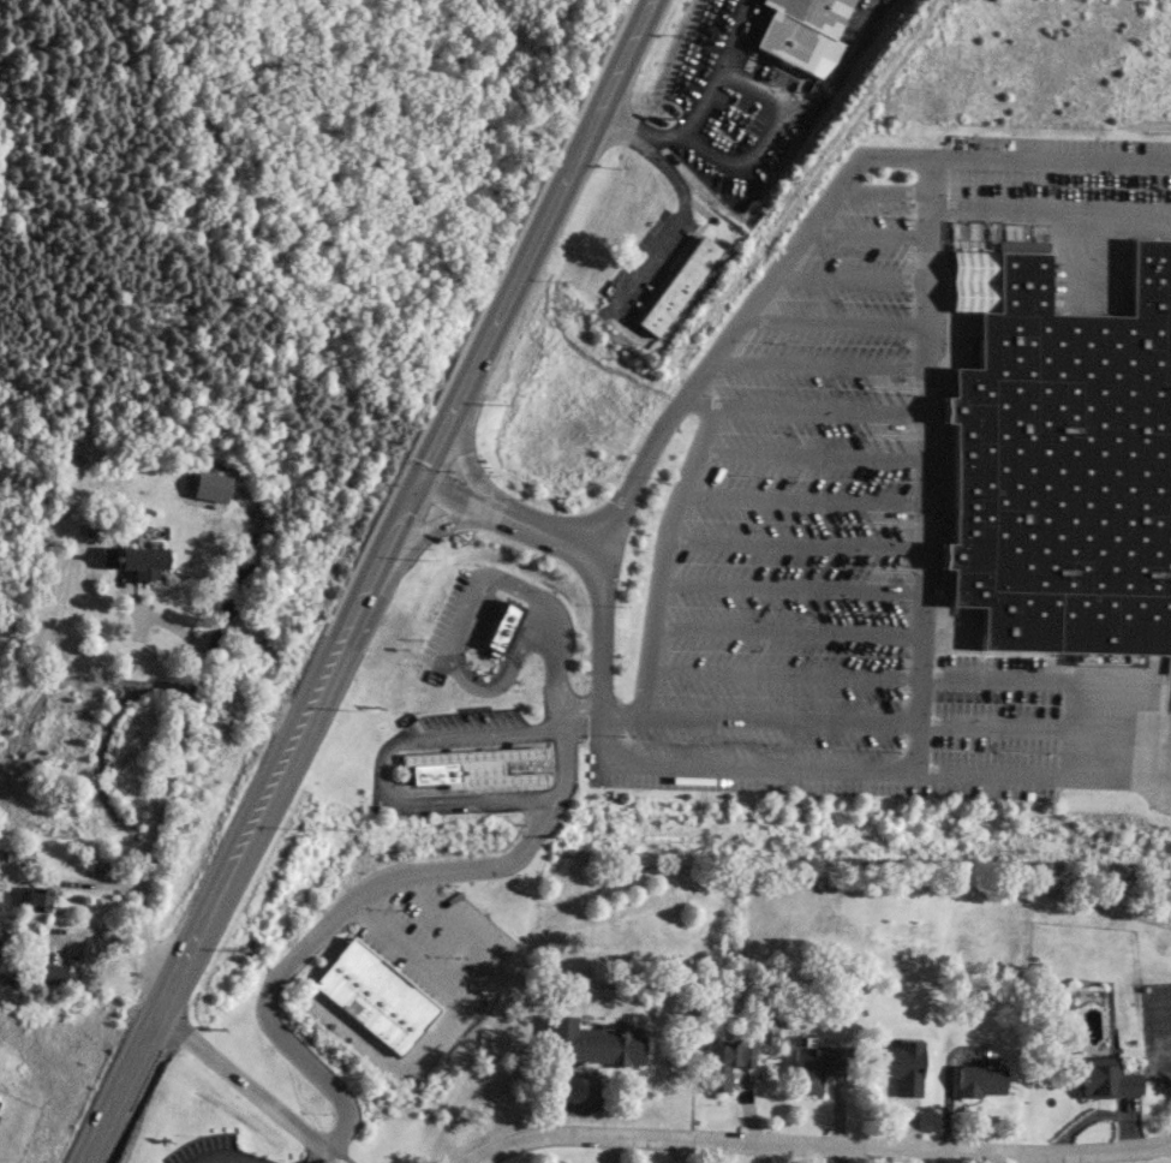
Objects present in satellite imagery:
building: (806, 30)
road: (641, 133)
road: (748, 160)
road: (1051, 205)
road: (673, 223)
road: (870, 233)
road: (853, 279)
building: (676, 286)
road: (838, 321)
road: (822, 363)
road: (806, 408)
road: (812, 454)
road: (467, 458)
road: (925, 463)
building: (1062, 473)
traffic signals: (419, 479)
building: (208, 487)
road: (801, 499)
road: (510, 517)
road: (435, 526)
road: (613, 529)
road: (794, 544)
road: (661, 555)
building: (135, 561)
road: (369, 583)
road: (789, 588)
road: (474, 620)
building: (507, 628)
road: (785, 630)
road: (781, 674)
road: (1046, 678)
road: (758, 720)
road: (1000, 727)
road: (97, 742)
building: (467, 763)
road: (1152, 770)
road: (382, 771)
road: (153, 811)
road: (371, 887)
building: (36, 899)
building: (1, 944)
road: (407, 952)
parking lot: (438, 962)
road: (488, 966)
building: (47, 974)
building: (375, 996)
building: (591, 1044)
building: (727, 1062)
building: (817, 1066)
building: (901, 1066)
building: (1105, 1078)
building: (981, 1079)
road: (250, 1086)
road: (823, 1141)
road: (321, 1156)
road: (228, 1162)

